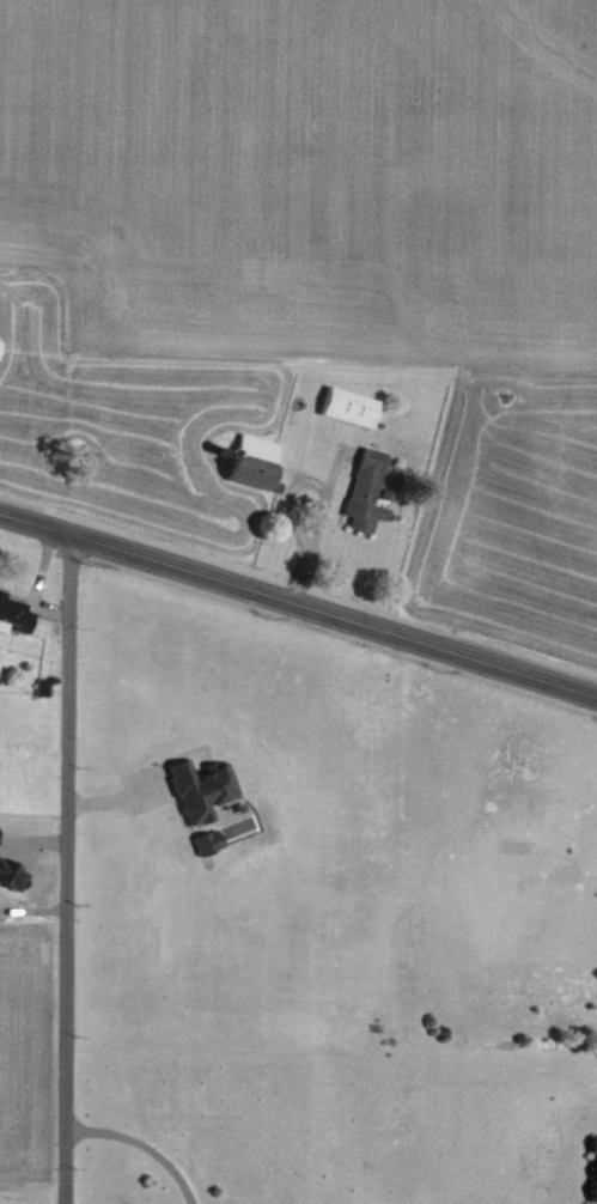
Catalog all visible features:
building: (349, 407)
building: (255, 461)
building: (367, 491)
road: (298, 603)
building: (14, 614)
building: (202, 789)
building: (208, 843)
road: (65, 869)
building: (12, 874)
road: (138, 1145)
building: (595, 1170)

